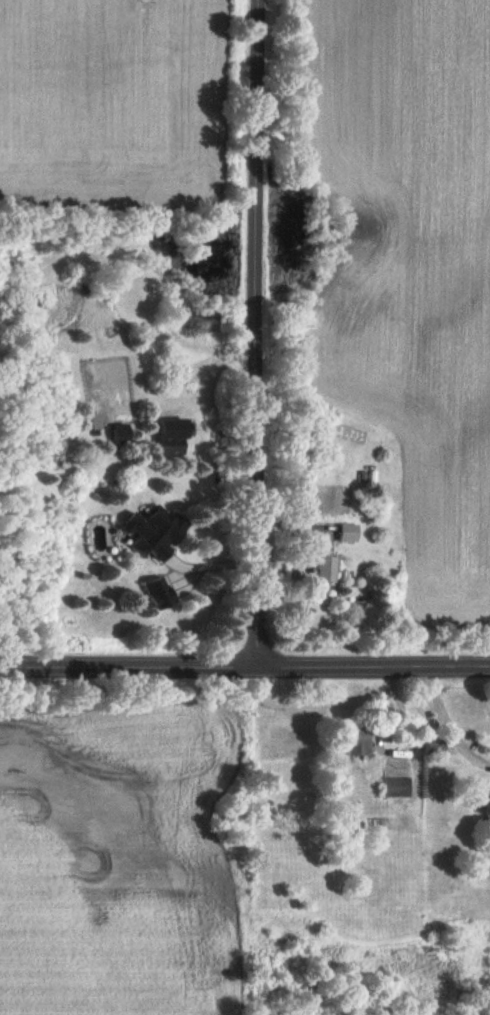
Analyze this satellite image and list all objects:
road: (258, 336)
building: (121, 434)
building: (170, 437)
building: (368, 478)
building: (345, 533)
building: (153, 535)
building: (318, 569)
road: (244, 672)
building: (352, 743)
building: (394, 787)
building: (485, 804)

